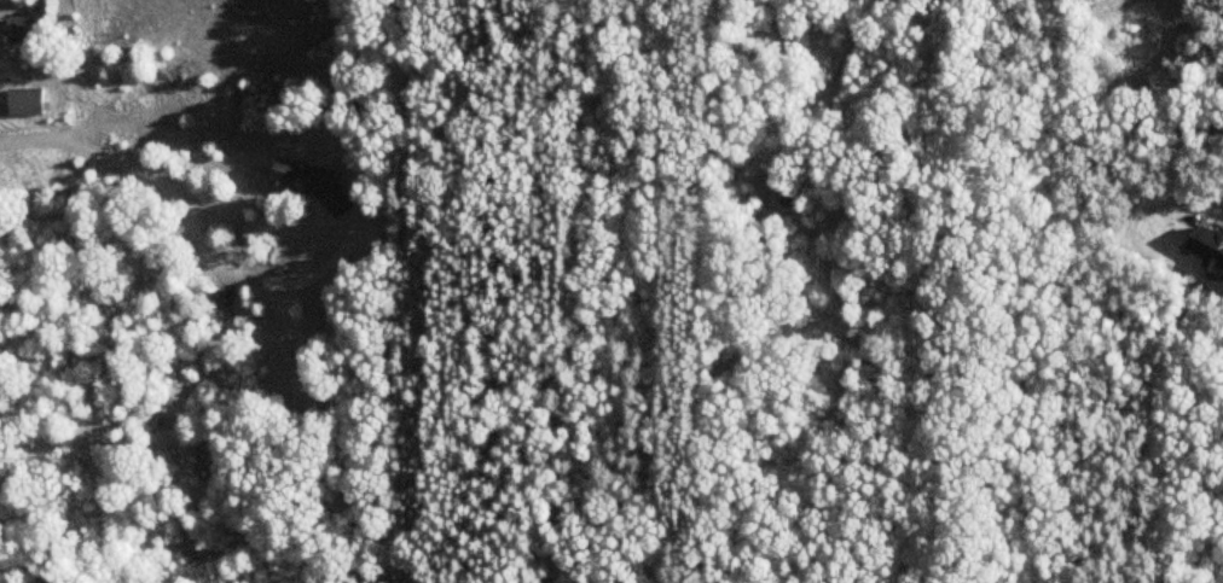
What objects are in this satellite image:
building: (24, 31)
building: (30, 103)
road: (187, 210)

